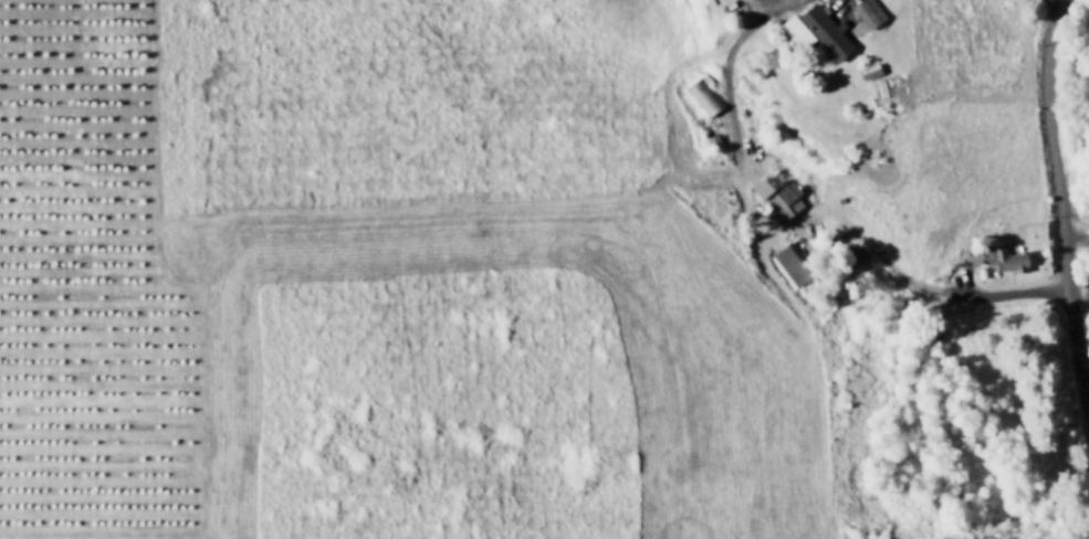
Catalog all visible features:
building: (869, 9)
building: (795, 28)
building: (826, 29)
building: (869, 66)
building: (702, 93)
building: (711, 136)
road: (741, 162)
road: (1059, 191)
building: (776, 194)
road: (867, 236)
building: (999, 253)
building: (789, 262)
building: (983, 269)
building: (813, 284)
road: (1013, 287)
road: (788, 317)

